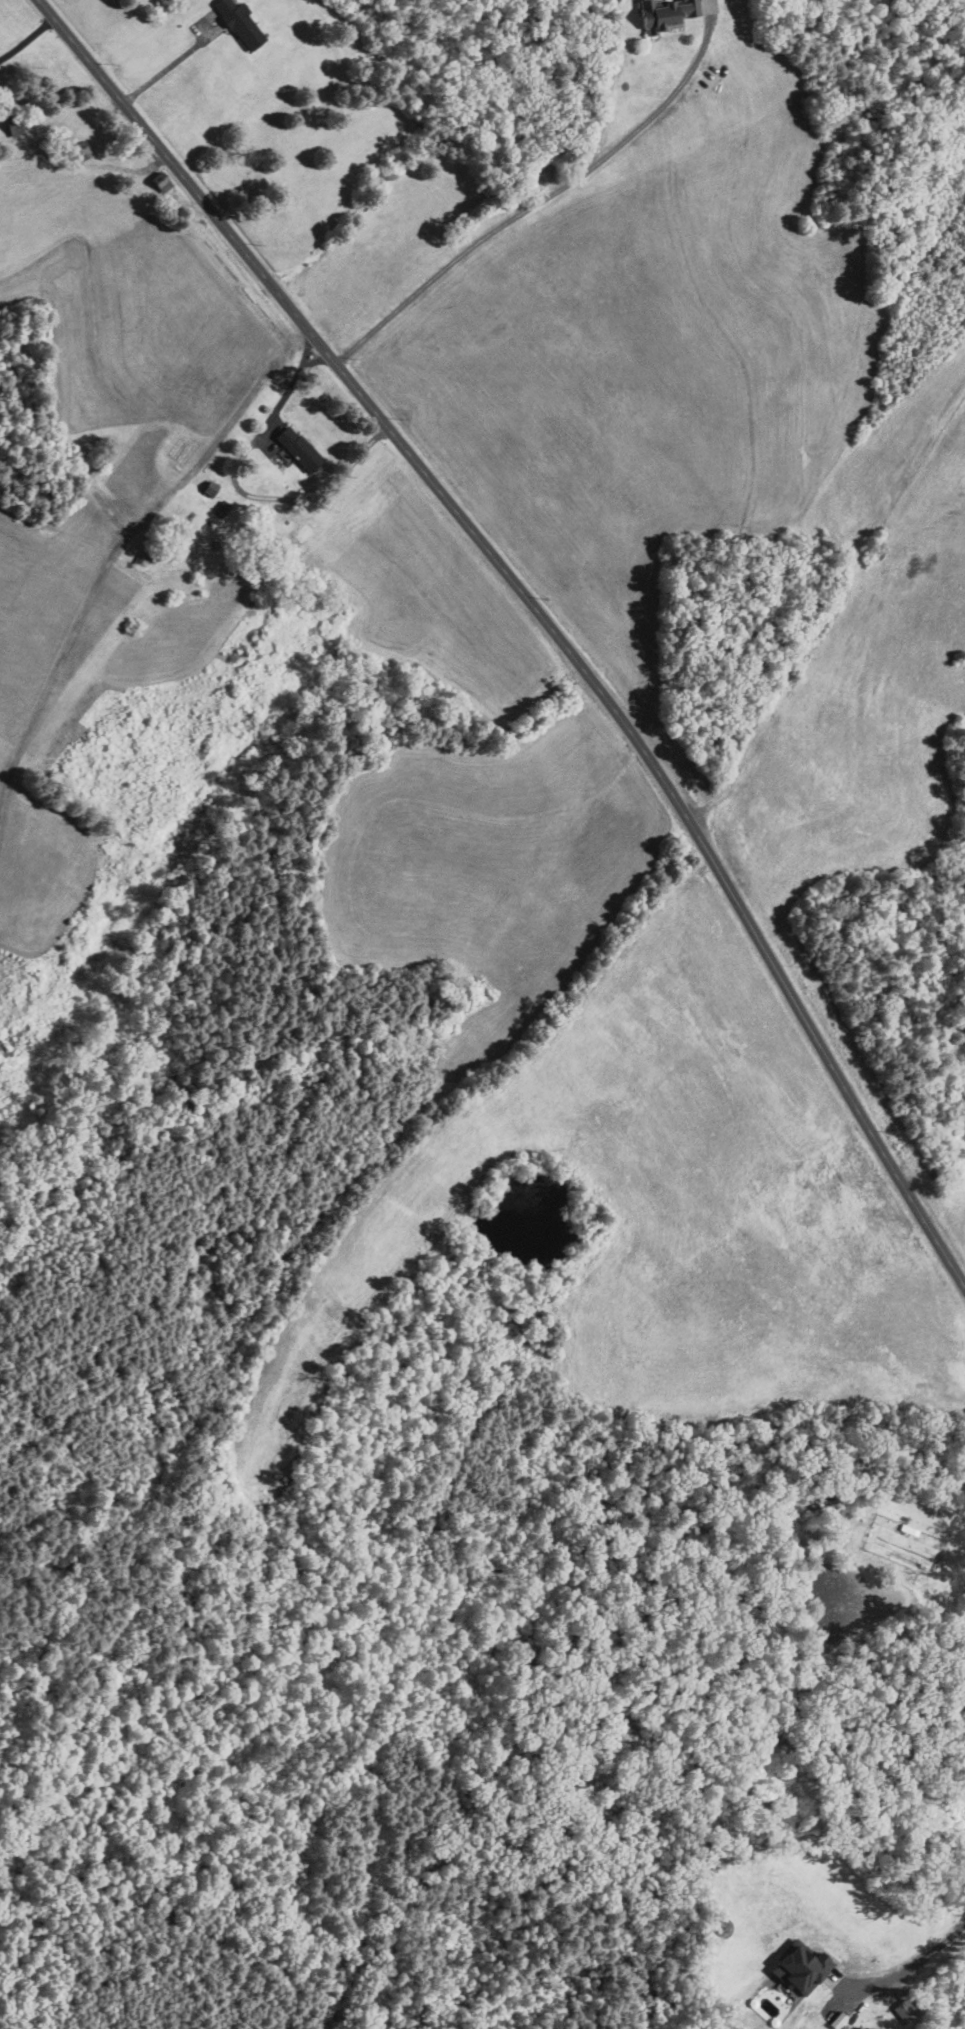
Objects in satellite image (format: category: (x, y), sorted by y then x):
building: (671, 12)
building: (239, 22)
road: (28, 42)
road: (169, 65)
road: (533, 205)
road: (301, 364)
road: (280, 402)
building: (297, 447)
road: (541, 615)
road: (919, 1962)
building: (800, 1968)

